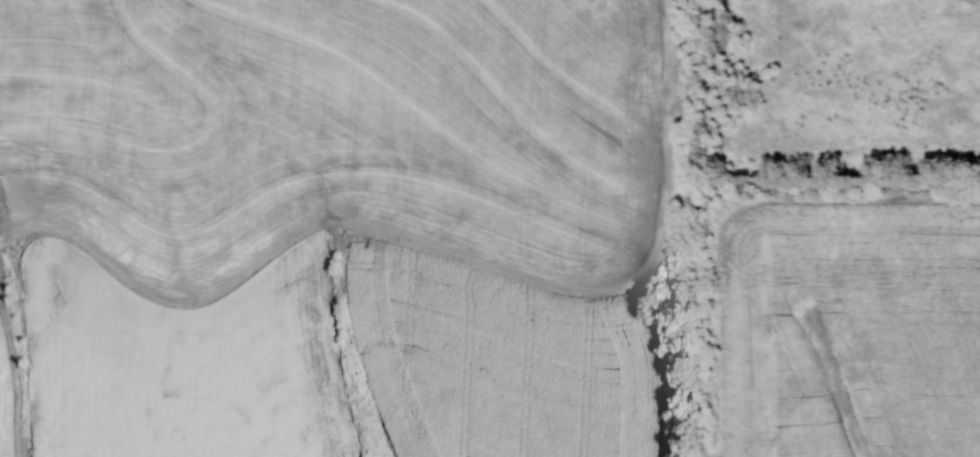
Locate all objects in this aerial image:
park: (841, 88)

